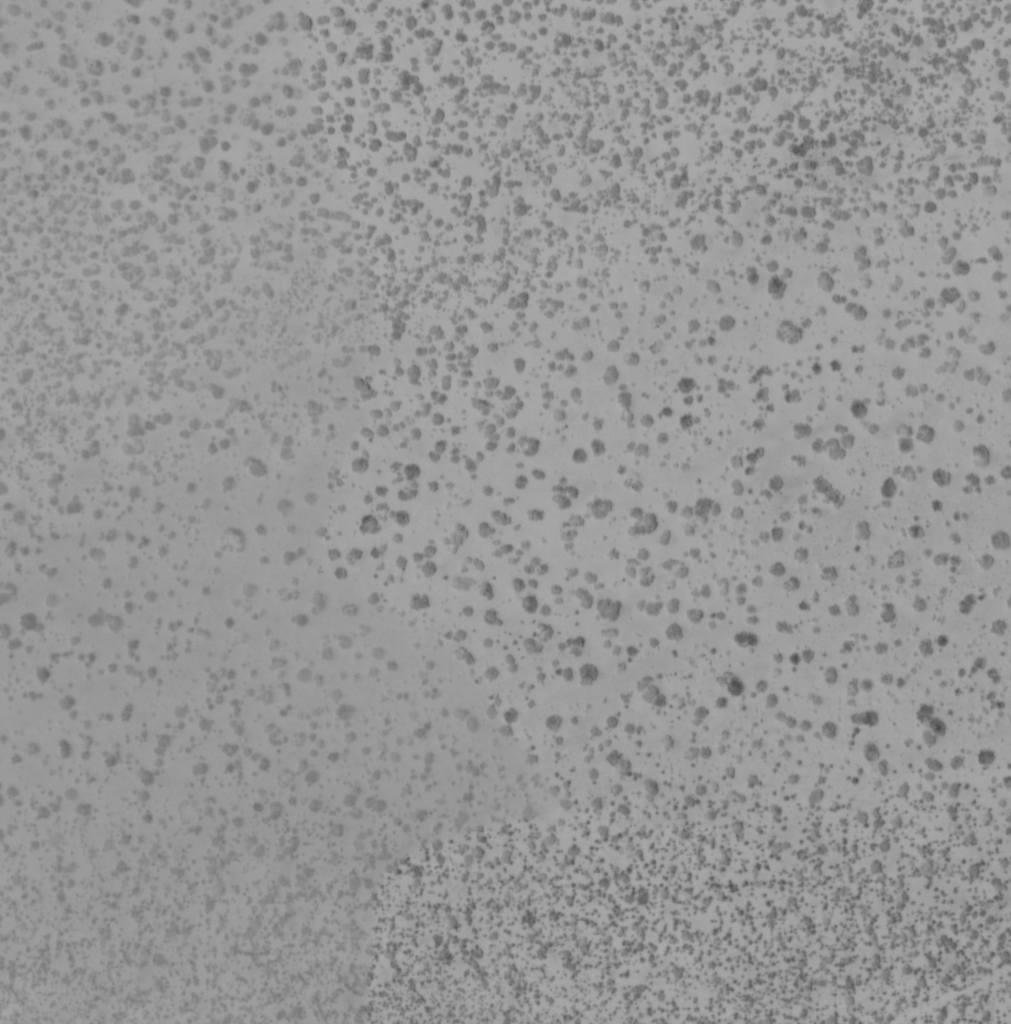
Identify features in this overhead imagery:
road: (949, 995)

